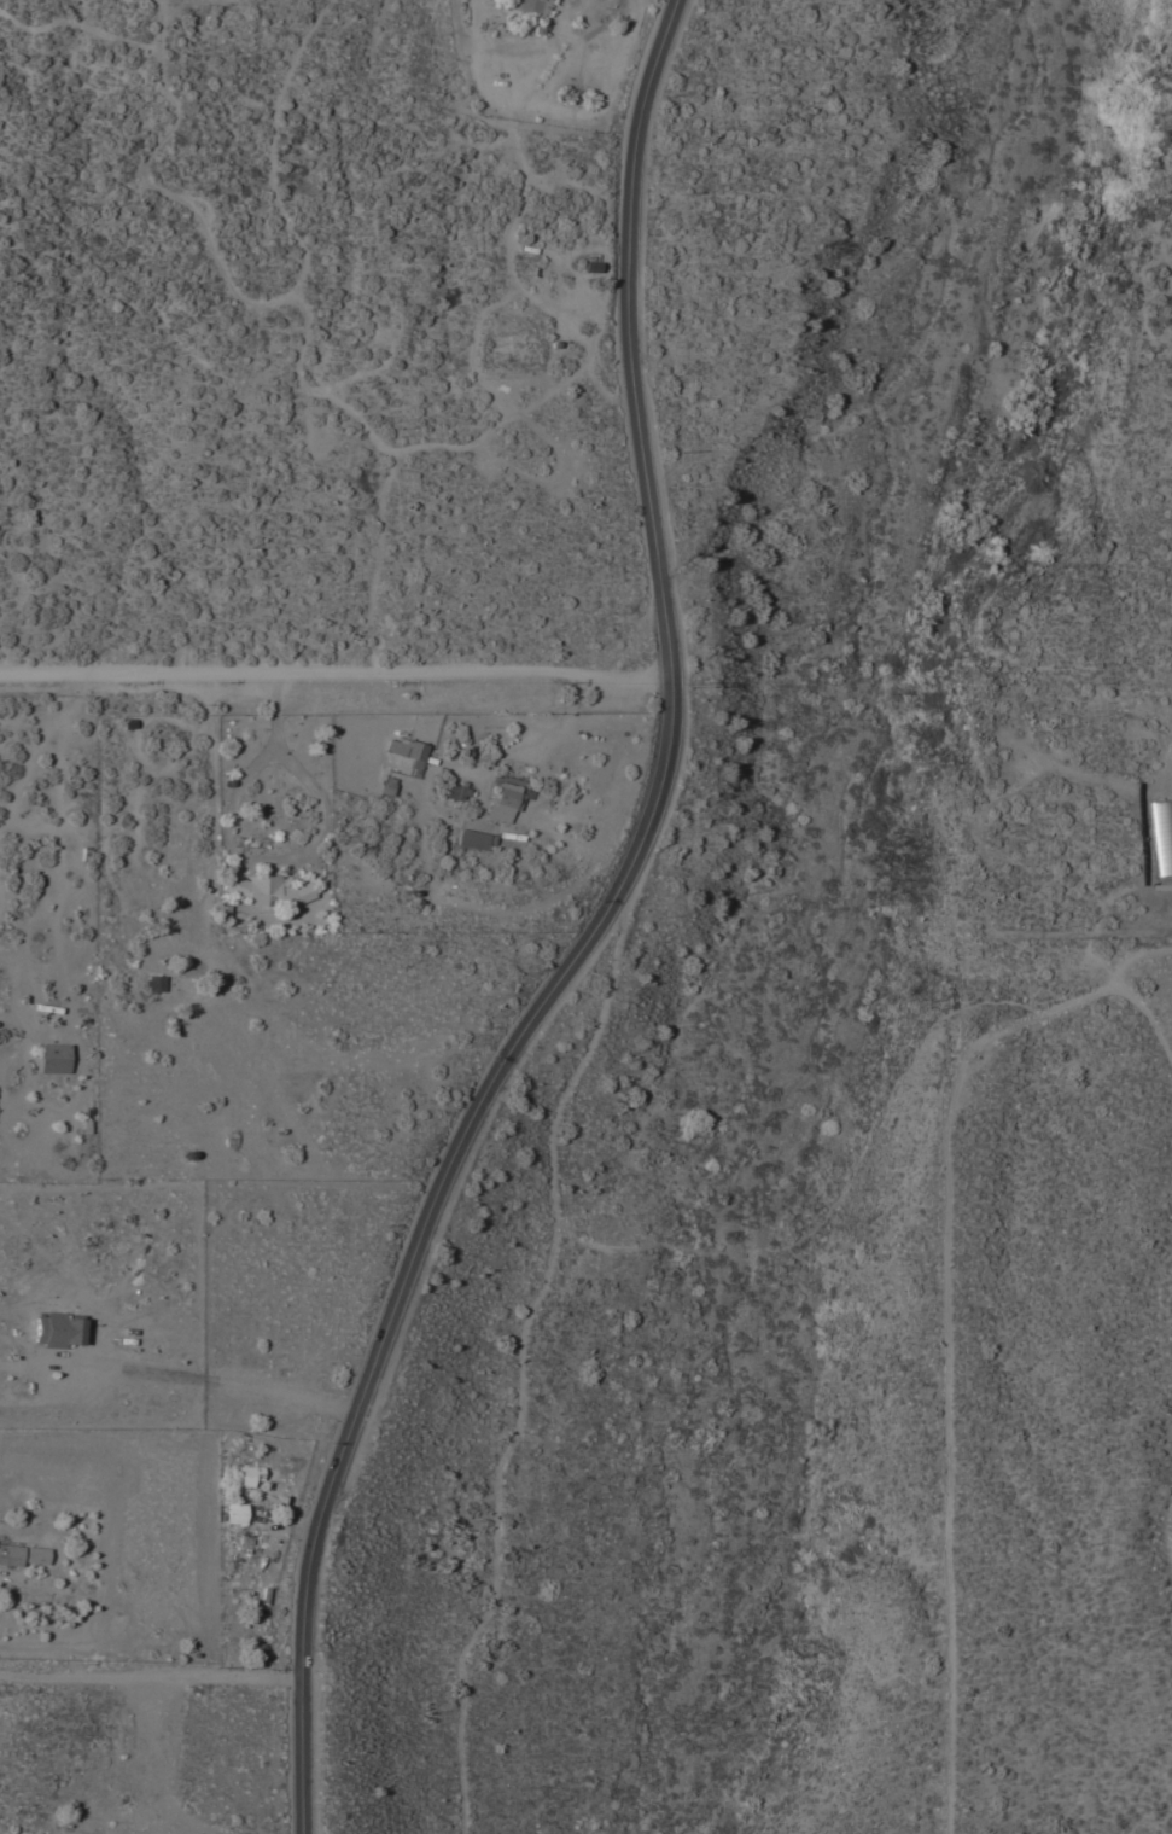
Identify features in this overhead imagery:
building: (529, 6)
building: (589, 263)
road: (334, 676)
road: (524, 746)
building: (407, 751)
road: (1167, 785)
building: (386, 786)
building: (455, 791)
building: (505, 803)
building: (473, 839)
road: (235, 852)
building: (266, 890)
road: (1102, 913)
road: (589, 936)
building: (152, 985)
road: (1148, 1018)
road: (127, 1023)
building: (52, 1059)
road: (946, 1324)
building: (57, 1329)
road: (136, 1370)
road: (285, 1395)
building: (246, 1475)
building: (234, 1513)
building: (10, 1554)
building: (34, 1555)
road: (150, 1675)

